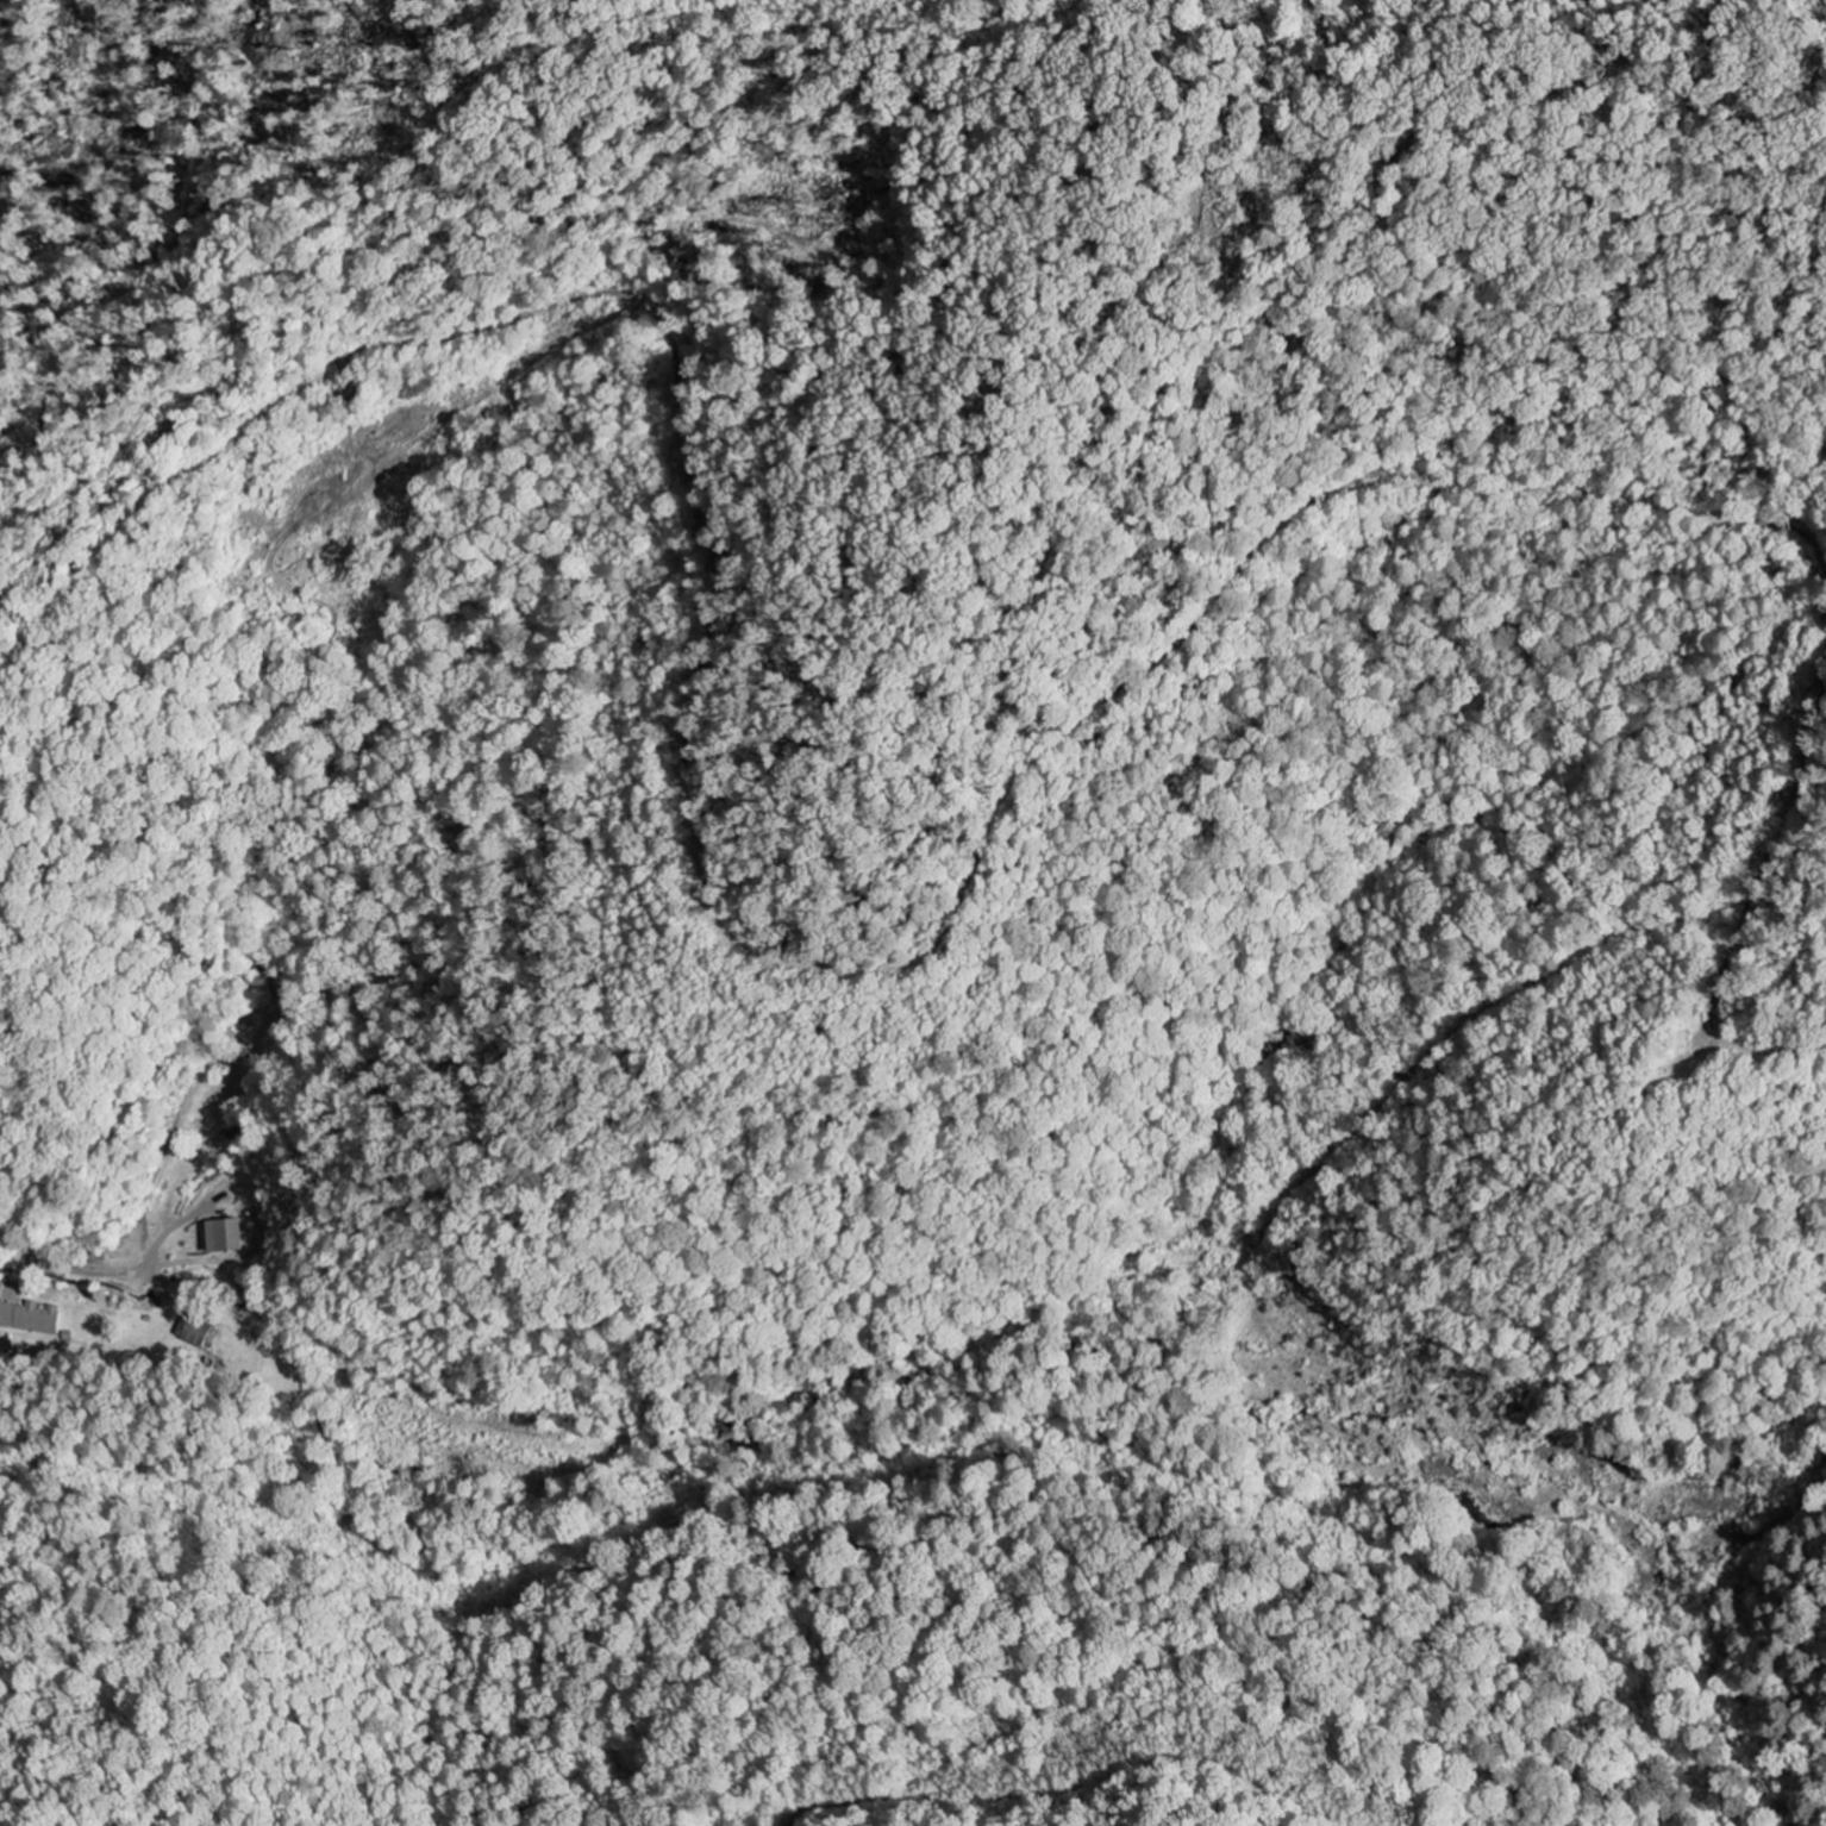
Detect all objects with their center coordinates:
building: (218, 1236)
building: (29, 1320)
road: (308, 1328)

